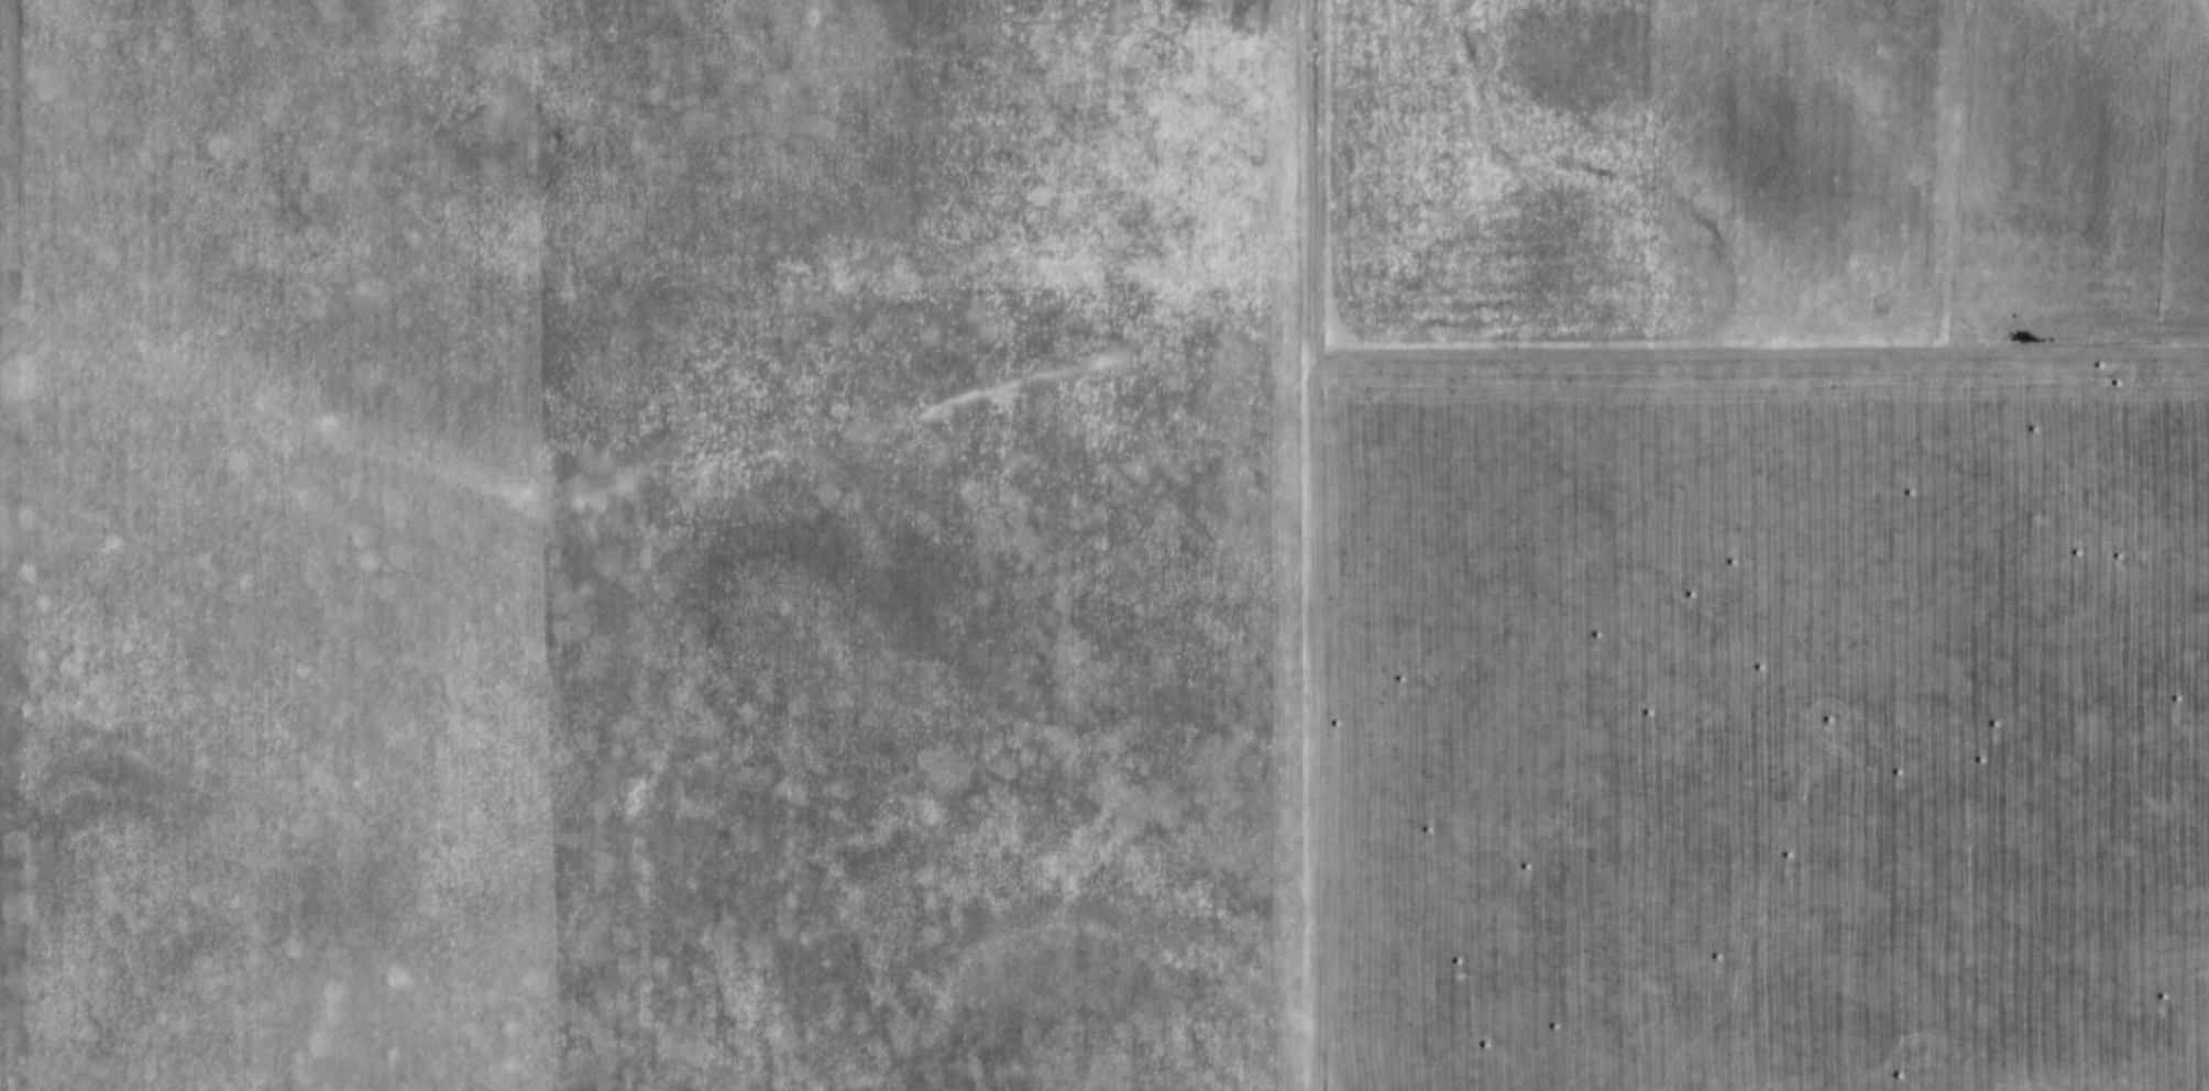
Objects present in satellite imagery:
road: (1317, 544)

